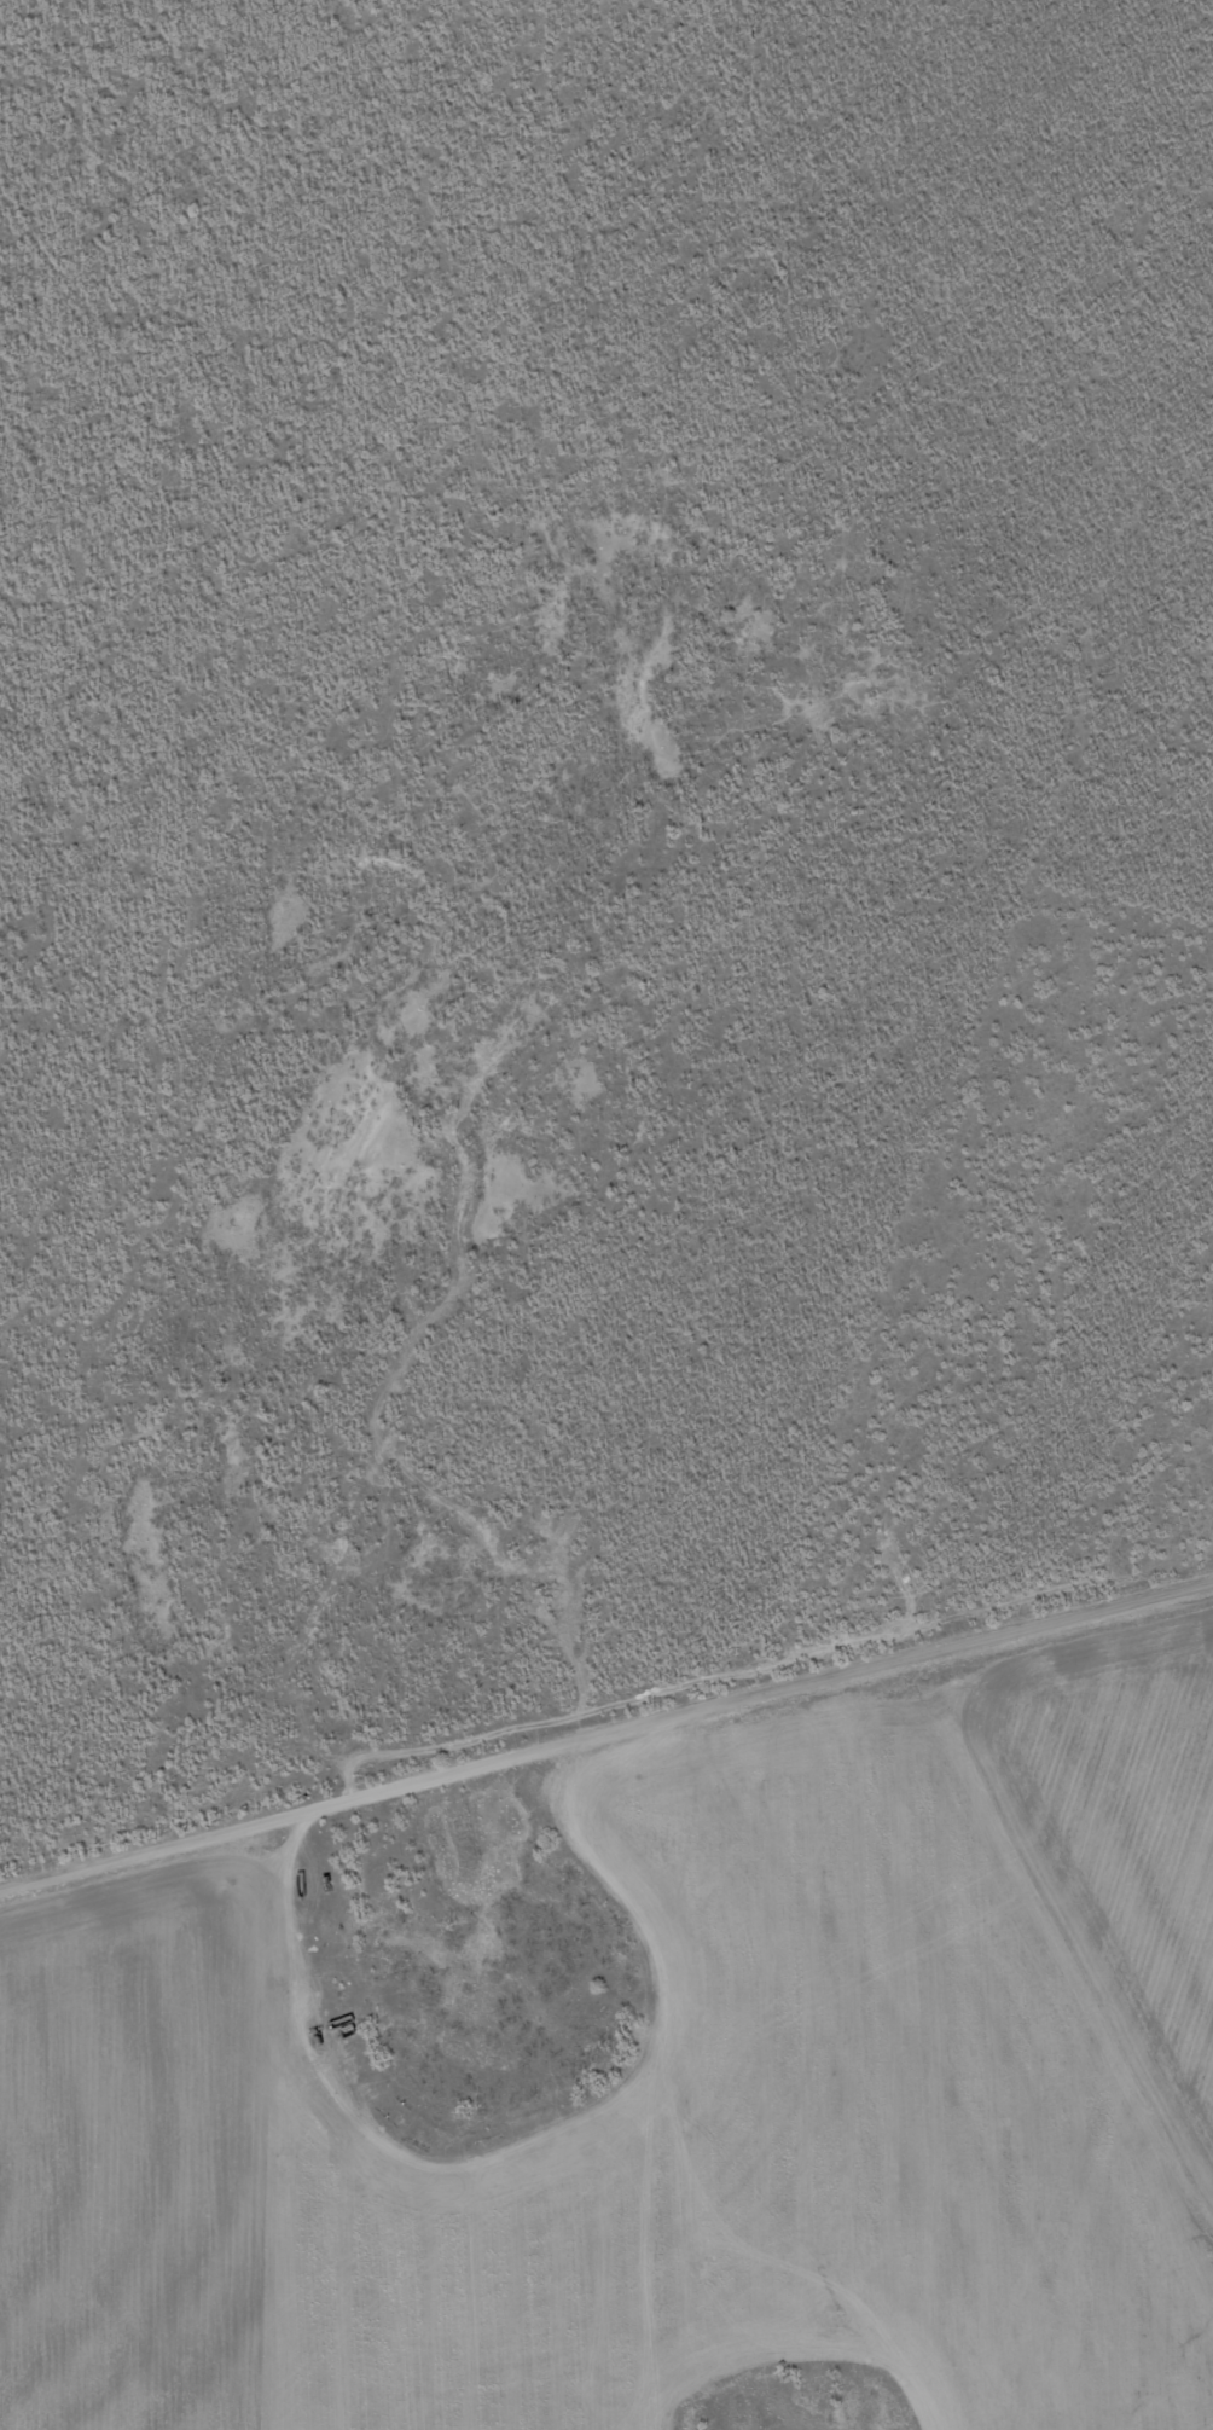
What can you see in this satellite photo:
road: (606, 1750)

